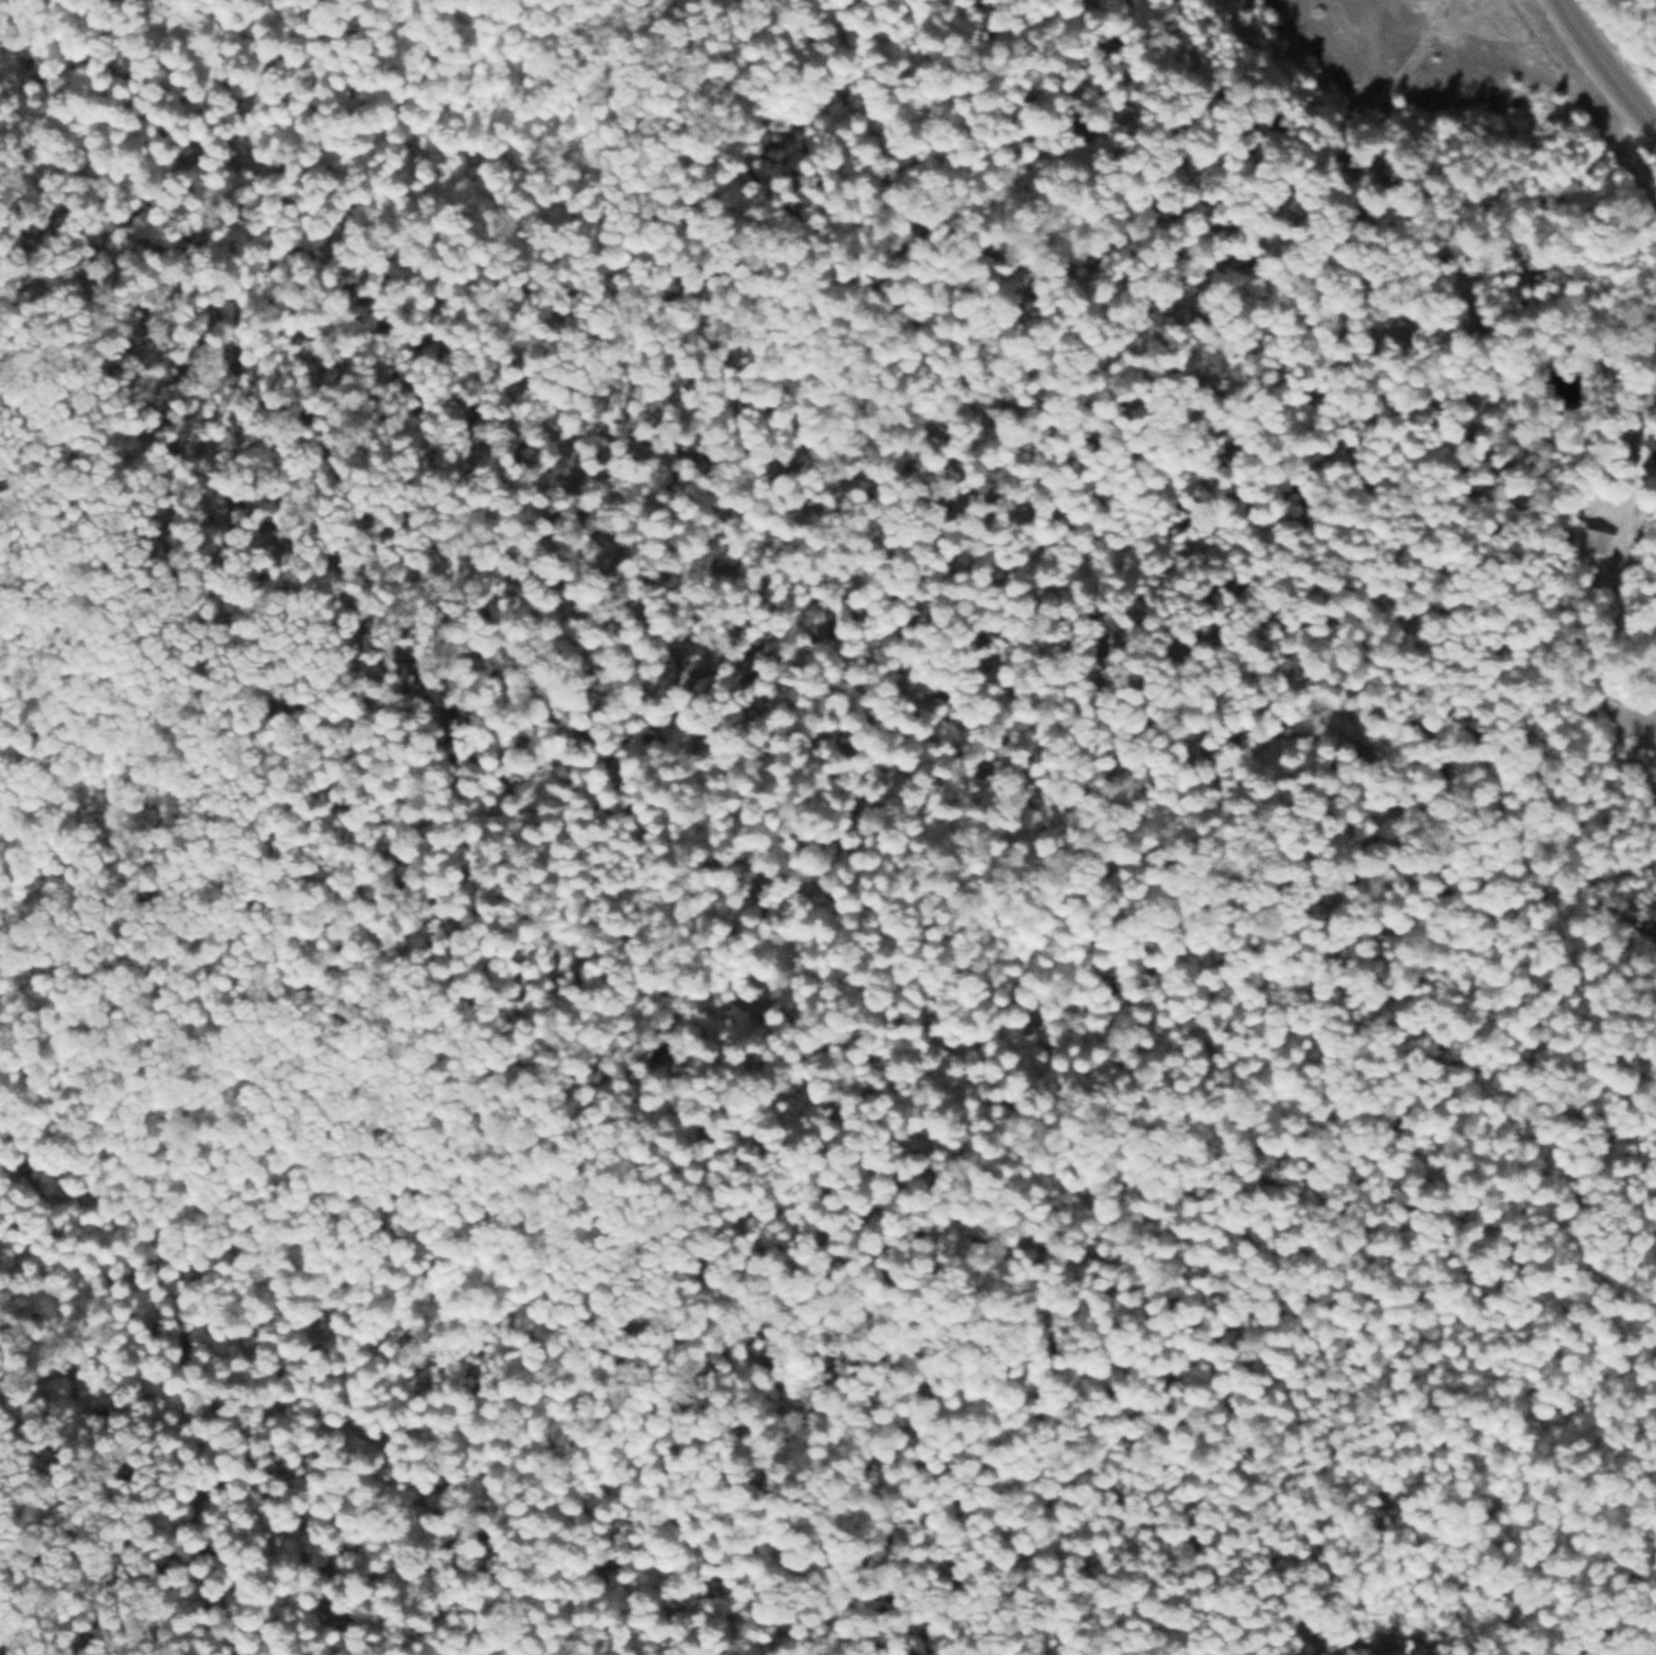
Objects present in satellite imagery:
road: (1605, 65)
building: (1651, 442)
building: (1594, 540)

